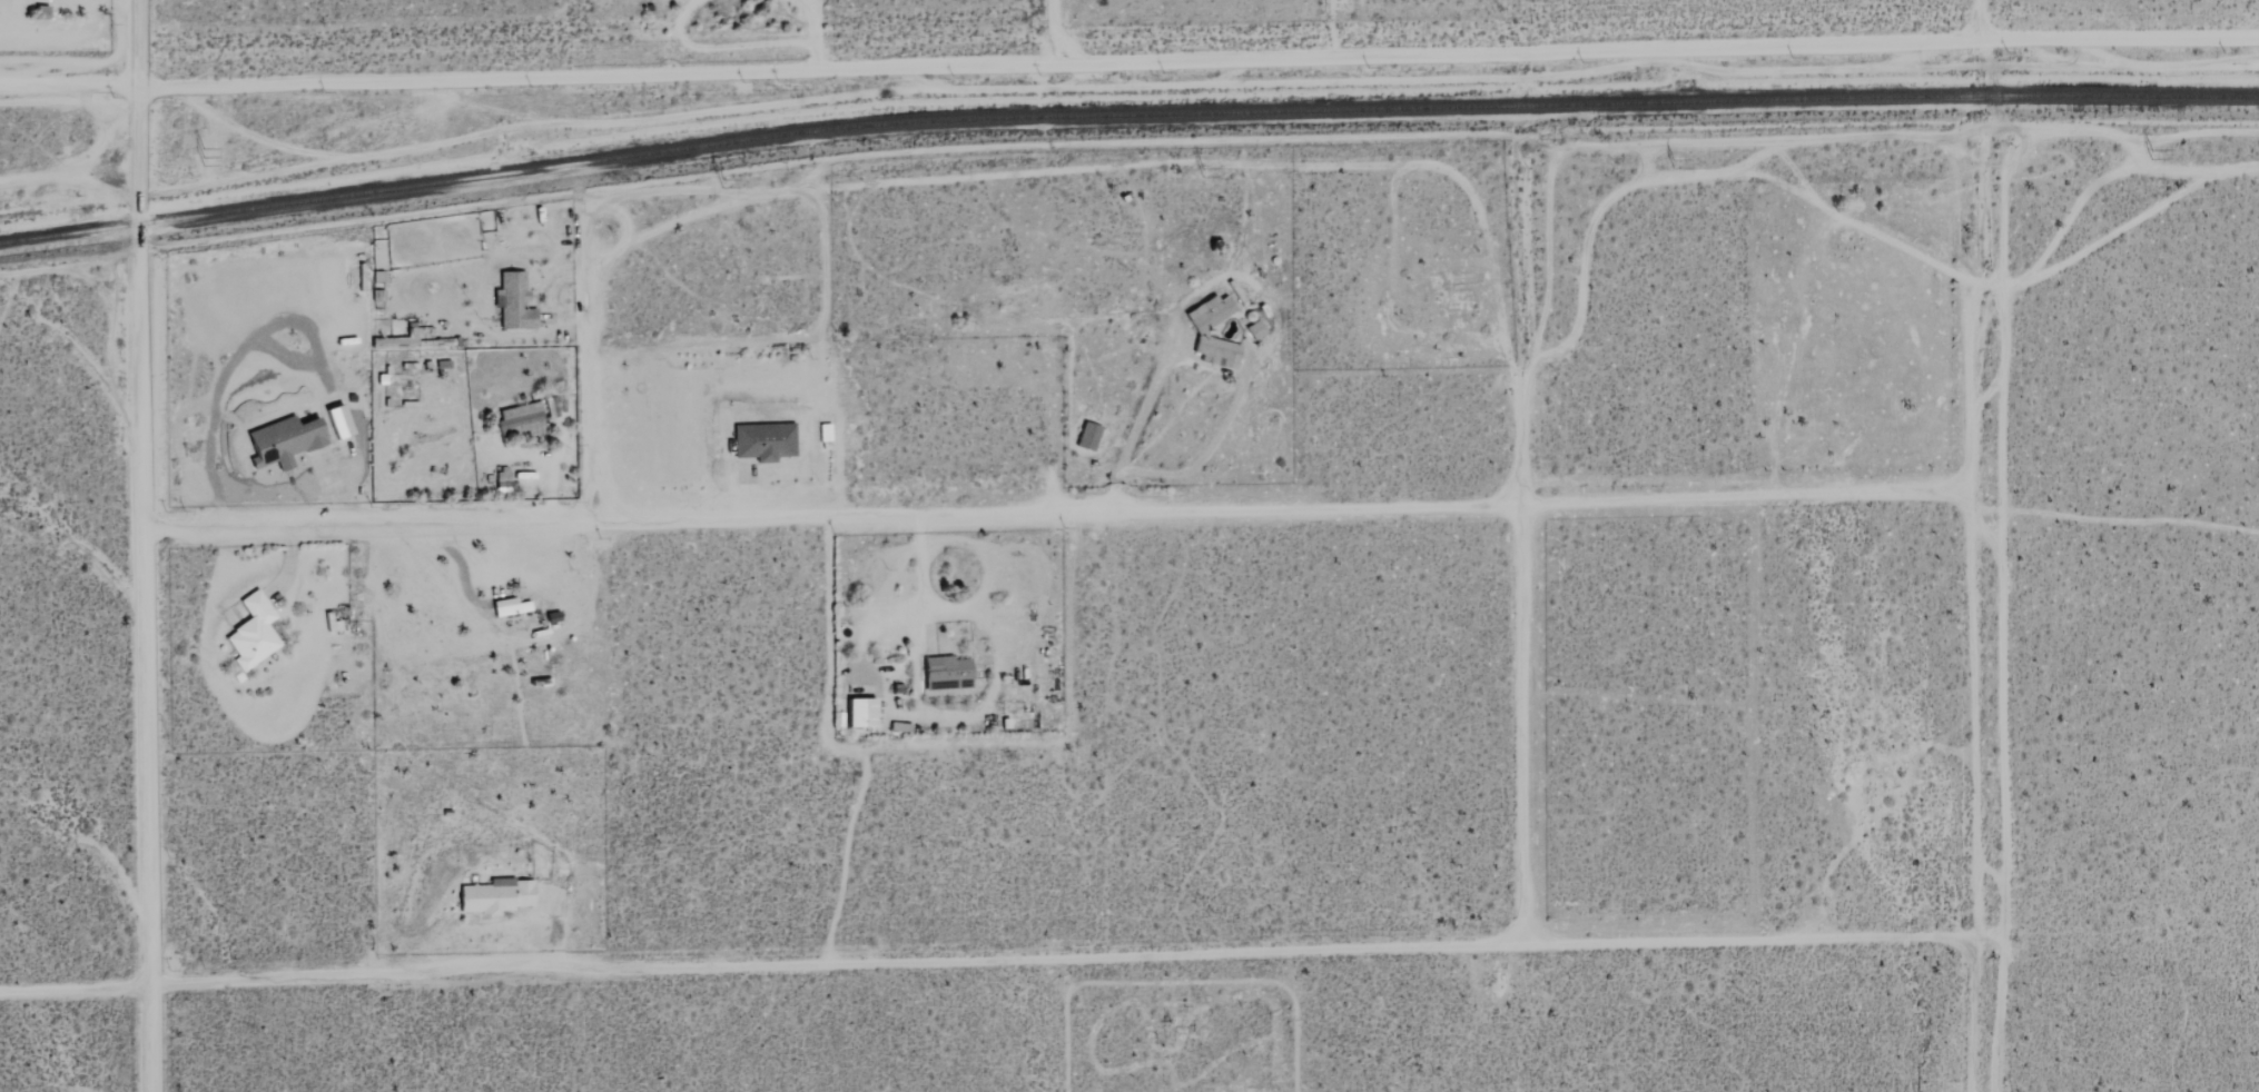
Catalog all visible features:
road: (120, 2)
road: (1044, 33)
road: (1651, 53)
road: (522, 85)
railway: (1124, 112)
road: (99, 136)
power tower: (2160, 159)
power tower: (208, 162)
power tower: (1677, 169)
road: (70, 173)
power tower: (1203, 177)
power tower: (722, 189)
building: (512, 300)
building: (1254, 329)
building: (1198, 330)
road: (585, 361)
building: (521, 418)
building: (336, 420)
building: (822, 431)
building: (1086, 436)
building: (282, 440)
building: (762, 440)
road: (1076, 514)
road: (1525, 542)
road: (149, 545)
road: (2002, 545)
road: (458, 562)
building: (507, 606)
building: (251, 632)
building: (945, 673)
building: (858, 712)
road: (935, 714)
building: (493, 896)
road: (1000, 960)

